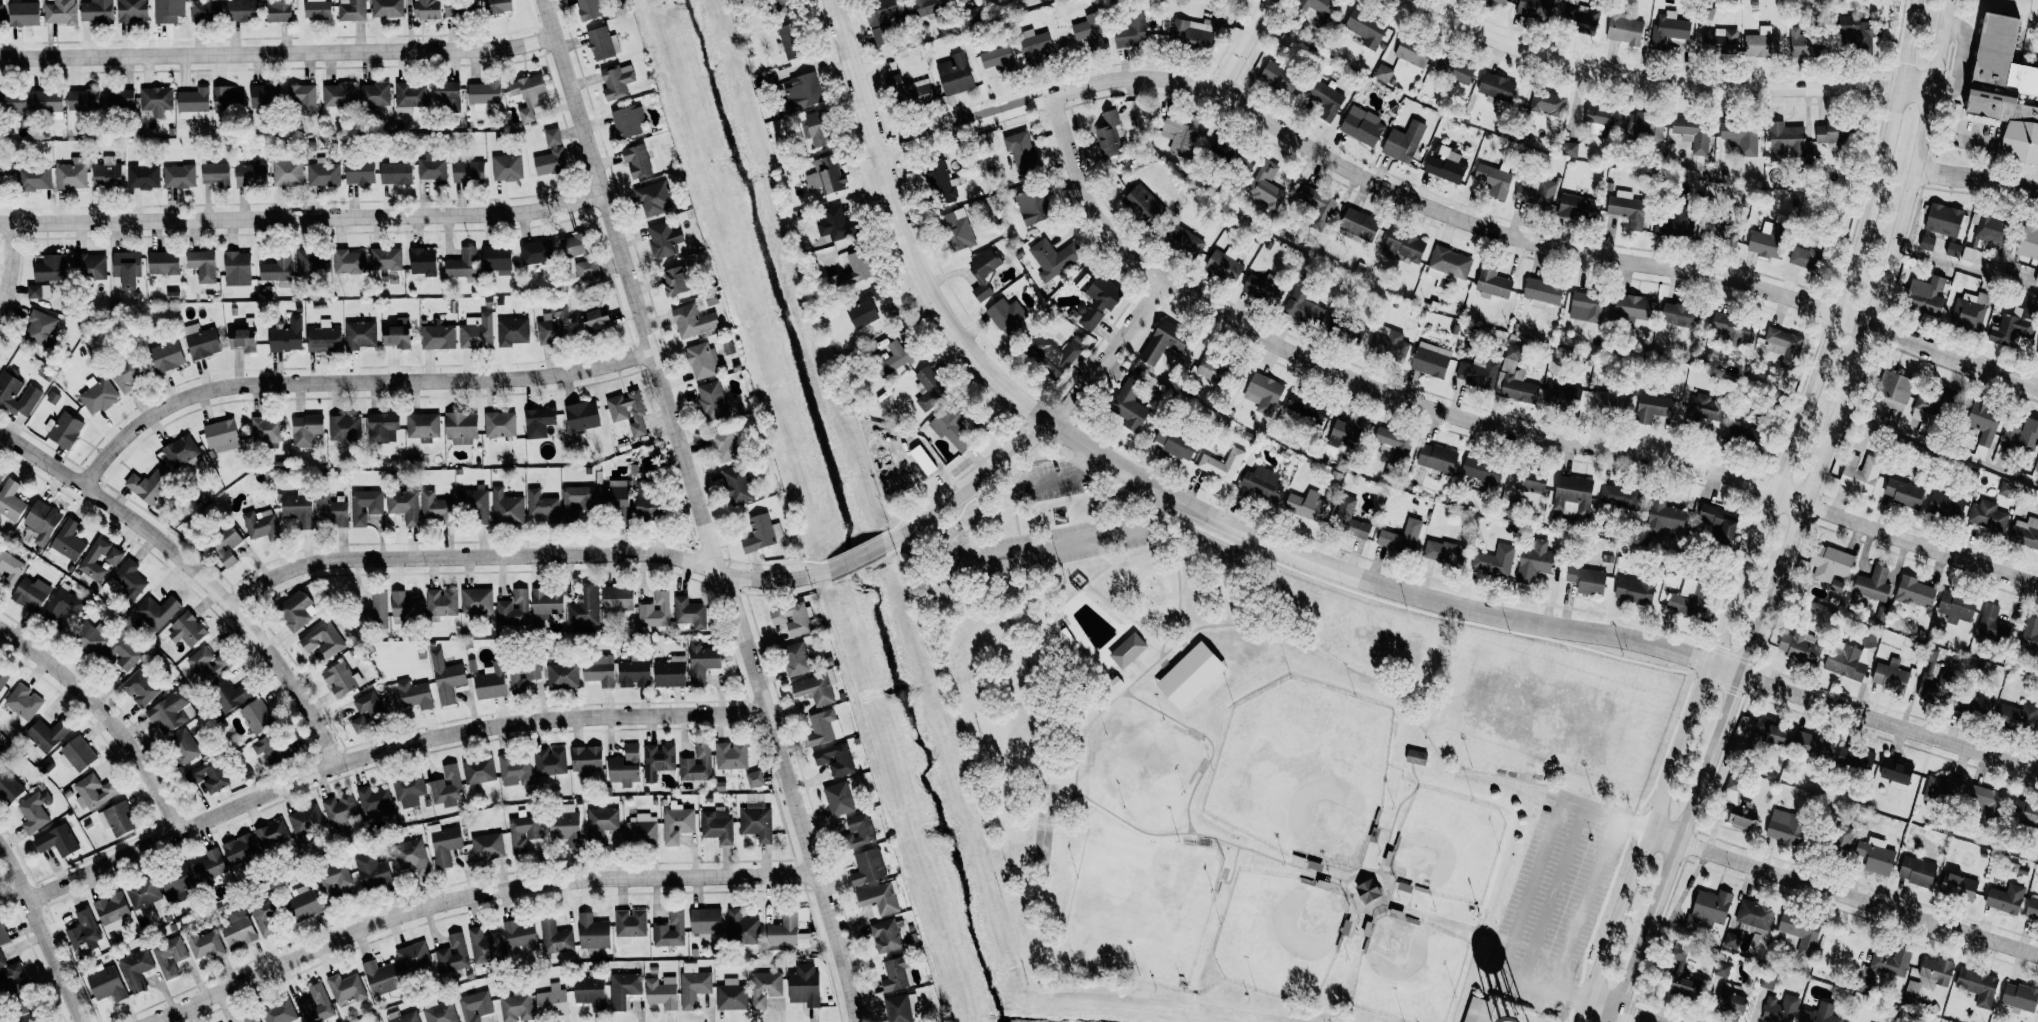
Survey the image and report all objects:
building: (1500, 1)
building: (497, 6)
building: (926, 7)
building: (387, 8)
building: (458, 8)
building: (1321, 8)
building: (317, 9)
building: (426, 9)
building: (588, 9)
building: (1535, 9)
building: (204, 10)
building: (241, 10)
building: (278, 10)
building: (351, 10)
building: (97, 11)
building: (133, 11)
building: (168, 11)
building: (61, 12)
building: (24, 14)
building: (1, 15)
building: (1579, 17)
building: (884, 18)
building: (1366, 28)
building: (1131, 30)
building: (1624, 30)
building: (1668, 30)
building: (1091, 31)
building: (1192, 33)
building: (1854, 35)
building: (1719, 41)
building: (791, 42)
building: (602, 43)
building: (1806, 44)
building: (1761, 45)
building: (1034, 46)
road: (1244, 46)
road: (276, 52)
building: (1412, 54)
building: (997, 58)
road: (1962, 61)
building: (1453, 70)
building: (1383, 73)
building: (955, 74)
building: (1279, 77)
building: (616, 80)
road: (1661, 81)
building: (1496, 87)
building: (2004, 88)
building: (802, 91)
building: (910, 91)
building: (355, 94)
building: (483, 95)
building: (529, 95)
building: (264, 96)
building: (410, 96)
building: (446, 96)
building: (303, 97)
building: (227, 98)
building: (120, 99)
building: (1325, 99)
building: (83, 100)
building: (156, 100)
building: (13, 102)
building: (46, 102)
building: (193, 103)
building: (1547, 103)
building: (1600, 116)
building: (628, 121)
building: (1362, 126)
building: (1643, 127)
building: (817, 129)
building: (1693, 133)
building: (1834, 133)
building: (1109, 134)
building: (1180, 134)
building: (1741, 137)
building: (1786, 141)
building: (1404, 142)
building: (1569, 149)
building: (1021, 152)
building: (551, 155)
building: (1234, 155)
building: (637, 161)
building: (1445, 164)
building: (0, 167)
building: (507, 167)
building: (433, 170)
building: (360, 172)
building: (395, 172)
building: (468, 172)
building: (107, 173)
building: (215, 173)
building: (287, 173)
building: (251, 175)
building: (324, 175)
building: (825, 175)
building: (71, 176)
building: (143, 176)
building: (179, 176)
building: (32, 178)
road: (1976, 179)
building: (1493, 180)
building: (939, 183)
building: (1267, 187)
building: (1535, 192)
building: (654, 199)
building: (1142, 203)
building: (1317, 205)
building: (1032, 206)
building: (1577, 208)
building: (1627, 209)
road: (1448, 215)
road: (301, 217)
building: (1942, 220)
building: (1675, 221)
building: (838, 223)
building: (1359, 224)
building: (1990, 229)
building: (958, 231)
building: (1716, 231)
road: (900, 233)
building: (663, 239)
building: (1767, 240)
building: (1183, 242)
building: (2028, 242)
building: (1927, 243)
building: (575, 245)
building: (1403, 246)
building: (536, 253)
building: (1053, 258)
building: (1806, 258)
building: (386, 259)
building: (497, 259)
road: (7, 261)
building: (423, 261)
building: (312, 262)
building: (348, 262)
building: (163, 263)
building: (462, 264)
building: (203, 265)
building: (1223, 265)
building: (90, 266)
building: (2006, 266)
building: (51, 268)
building: (127, 268)
building: (237, 268)
building: (587, 268)
building: (1448, 268)
building: (278, 270)
building: (854, 271)
road: (1964, 271)
building: (984, 273)
building: (2036, 279)
building: (675, 281)
building: (1492, 283)
building: (1265, 288)
building: (37, 291)
building: (1542, 292)
building: (1926, 296)
building: (1098, 302)
building: (1305, 307)
building: (1586, 307)
building: (1633, 309)
building: (863, 311)
building: (1968, 312)
building: (1006, 313)
building: (1679, 315)
building: (596, 320)
building: (692, 321)
building: (554, 324)
building: (2011, 327)
building: (40, 328)
building: (1733, 330)
building: (477, 331)
building: (512, 331)
building: (1343, 331)
building: (397, 334)
building: (360, 335)
building: (287, 336)
building: (324, 337)
building: (438, 337)
building: (243, 339)
building: (202, 341)
building: (1164, 341)
building: (1388, 344)
building: (1783, 347)
building: (1513, 352)
building: (1051, 355)
building: (167, 356)
building: (2037, 356)
building: (894, 358)
building: (701, 360)
building: (1431, 360)
building: (1219, 370)
building: (1476, 372)
building: (128, 375)
road: (348, 382)
building: (929, 388)
building: (1518, 390)
building: (1893, 390)
building: (16, 393)
building: (1264, 394)
building: (98, 395)
building: (1561, 397)
building: (712, 401)
building: (1131, 401)
building: (1609, 403)
building: (1652, 408)
building: (1305, 409)
building: (1703, 409)
building: (628, 411)
building: (582, 416)
building: (539, 422)
building: (1984, 422)
building: (500, 424)
building: (423, 425)
road: (1485, 426)
building: (383, 427)
building: (461, 427)
building: (956, 427)
building: (65, 428)
building: (345, 428)
building: (266, 429)
building: (306, 430)
road: (1040, 430)
building: (1347, 435)
building: (222, 436)
building: (2022, 436)
building: (1746, 437)
building: (1175, 443)
building: (1395, 443)
building: (725, 446)
road: (1936, 449)
building: (181, 451)
building: (1437, 458)
building: (1222, 464)
building: (1481, 470)
building: (1860, 473)
building: (1, 475)
road: (1044, 476)
building: (1530, 481)
building: (1262, 484)
building: (738, 485)
building: (148, 486)
building: (2006, 489)
building: (1904, 493)
building: (1621, 496)
building: (613, 498)
building: (11, 501)
road: (1090, 501)
building: (508, 503)
building: (560, 504)
building: (404, 505)
building: (365, 506)
building: (1945, 506)
building: (435, 508)
building: (298, 509)
building: (330, 511)
road: (697, 511)
building: (1328, 512)
road: (1762, 515)
road: (1012, 516)
road: (1797, 516)
building: (1987, 516)
building: (1664, 517)
building: (42, 521)
building: (1719, 523)
building: (262, 525)
building: (762, 533)
building: (2025, 533)
building: (1401, 537)
building: (68, 541)
building: (225, 546)
road: (1044, 547)
building: (1444, 552)
road: (523, 555)
building: (1540, 557)
building: (112, 558)
road: (855, 558)
building: (1495, 561)
building: (1830, 563)
building: (9, 570)
road: (193, 572)
building: (1586, 579)
building: (127, 580)
building: (1873, 585)
building: (1836, 586)
road: (1176, 587)
building: (1634, 590)
building: (1915, 593)
building: (31, 594)
building: (618, 598)
building: (1689, 598)
building: (477, 601)
building: (442, 602)
building: (546, 604)
building: (62, 605)
building: (405, 605)
building: (1956, 607)
building: (514, 609)
building: (585, 609)
building: (296, 610)
building: (157, 611)
building: (655, 611)
building: (375, 612)
building: (689, 613)
building: (792, 619)
road: (1531, 622)
building: (1994, 626)
building: (187, 630)
building: (90, 637)
building: (2029, 638)
building: (1868, 639)
building: (323, 640)
building: (1800, 648)
building: (1128, 650)
building: (125, 652)
road: (1164, 652)
road: (1019, 654)
building: (796, 659)
building: (702, 662)
building: (1845, 662)
building: (207, 664)
building: (599, 669)
building: (635, 672)
building: (670, 672)
building: (522, 675)
building: (1190, 675)
building: (563, 676)
building: (1890, 676)
building: (446, 677)
building: (3, 678)
building: (341, 679)
building: (1935, 680)
building: (491, 682)
building: (140, 688)
building: (816, 688)
building: (230, 695)
building: (415, 695)
building: (23, 702)
building: (1973, 705)
building: (369, 710)
building: (170, 713)
road: (102, 716)
building: (257, 716)
building: (2017, 717)
building: (823, 727)
building: (1773, 733)
building: (47, 735)
building: (2037, 735)
road: (1206, 741)
building: (1812, 746)
building: (183, 747)
building: (270, 749)
road: (380, 750)
building: (2, 754)
building: (76, 755)
building: (731, 755)
building: (1416, 757)
building: (586, 758)
building: (835, 759)
building: (658, 760)
building: (1854, 760)
building: (550, 761)
building: (696, 765)
park: (1139, 766)
building: (625, 767)
building: (478, 770)
building: (515, 770)
park: (1267, 770)
park: (1302, 772)
building: (1896, 773)
building: (207, 776)
building: (754, 779)
building: (9, 786)
building: (408, 786)
building: (447, 787)
building: (1732, 789)
building: (1940, 790)
building: (94, 791)
building: (1984, 797)
building: (372, 799)
building: (838, 799)
building: (340, 810)
road: (1062, 810)
building: (35, 811)
building: (2024, 813)
road: (1394, 814)
building: (1742, 817)
building: (117, 819)
building: (305, 820)
building: (601, 822)
building: (677, 823)
building: (757, 823)
building: (717, 826)
road: (1628, 826)
building: (1786, 827)
building: (565, 828)
building: (641, 830)
building: (858, 831)
building: (523, 832)
building: (272, 833)
building: (57, 841)
building: (1842, 842)
building: (444, 844)
building: (488, 846)
park: (1446, 846)
building: (240, 849)
building: (411, 856)
building: (1875, 856)
building: (210, 866)
building: (867, 867)
road: (1230, 870)
building: (372, 871)
building: (1917, 871)
road: (1348, 880)
building: (333, 881)
building: (176, 882)
building: (1959, 887)
road: (1842, 889)
building: (1368, 891)
building: (143, 893)
road: (473, 894)
building: (879, 898)
building: (2005, 899)
building: (304, 903)
park: (1141, 904)
building: (112, 908)
building: (1709, 908)
building: (2032, 908)
building: (265, 915)
building: (1755, 917)
road: (1447, 921)
building: (705, 922)
building: (630, 923)
road: (1351, 927)
building: (741, 928)
building: (786, 928)
building: (238, 930)
building: (669, 930)
building: (593, 932)
building: (1801, 932)
building: (83, 933)
building: (3, 934)
park: (1276, 934)
building: (520, 935)
road: (40, 936)
building: (555, 936)
building: (886, 936)
building: (1731, 940)
building: (205, 945)
building: (484, 946)
building: (452, 954)
building: (170, 956)
building: (413, 957)
building: (1891, 962)
building: (1678, 968)
building: (136, 969)
building: (1722, 969)
building: (9, 970)
park: (1407, 970)
building: (1935, 972)
building: (895, 974)
building: (381, 978)
building: (1767, 982)
road: (1494, 984)
building: (107, 985)
building: (693, 985)
building: (804, 985)
building: (1865, 985)
building: (1978, 986)
building: (765, 987)
building: (346, 989)
building: (623, 989)
building: (590, 992)
building: (662, 992)
road: (1568, 993)
building: (731, 995)
building: (2019, 997)
building: (21, 998)
building: (552, 1001)
building: (316, 1005)
building: (516, 1005)
building: (475, 1006)
building: (901, 1008)
building: (1780, 1008)
building: (1479, 1010)
road: (1620, 1011)
building: (279, 1012)
building: (441, 1012)
building: (1819, 1014)
building: (251, 1017)
building: (402, 1017)
building: (29, 1020)

